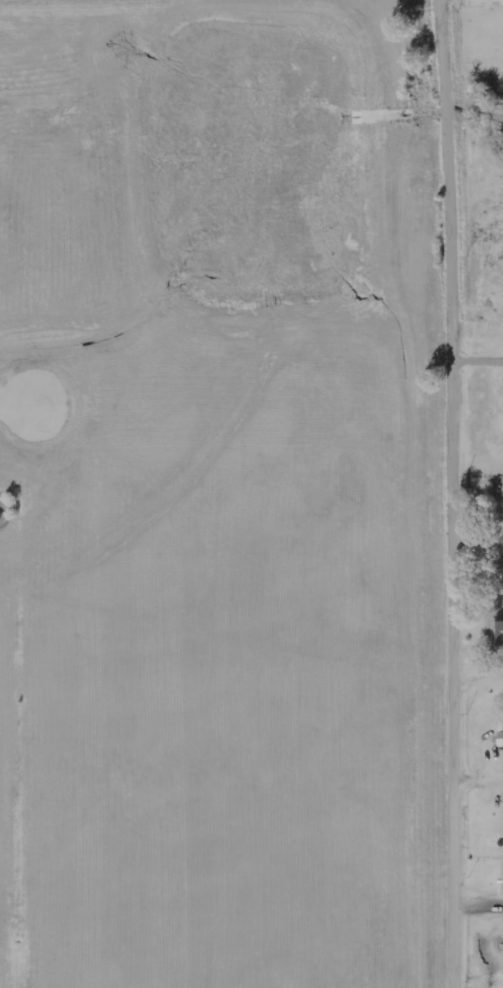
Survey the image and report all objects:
road: (20, 403)
road: (459, 493)
building: (496, 633)
building: (502, 880)

